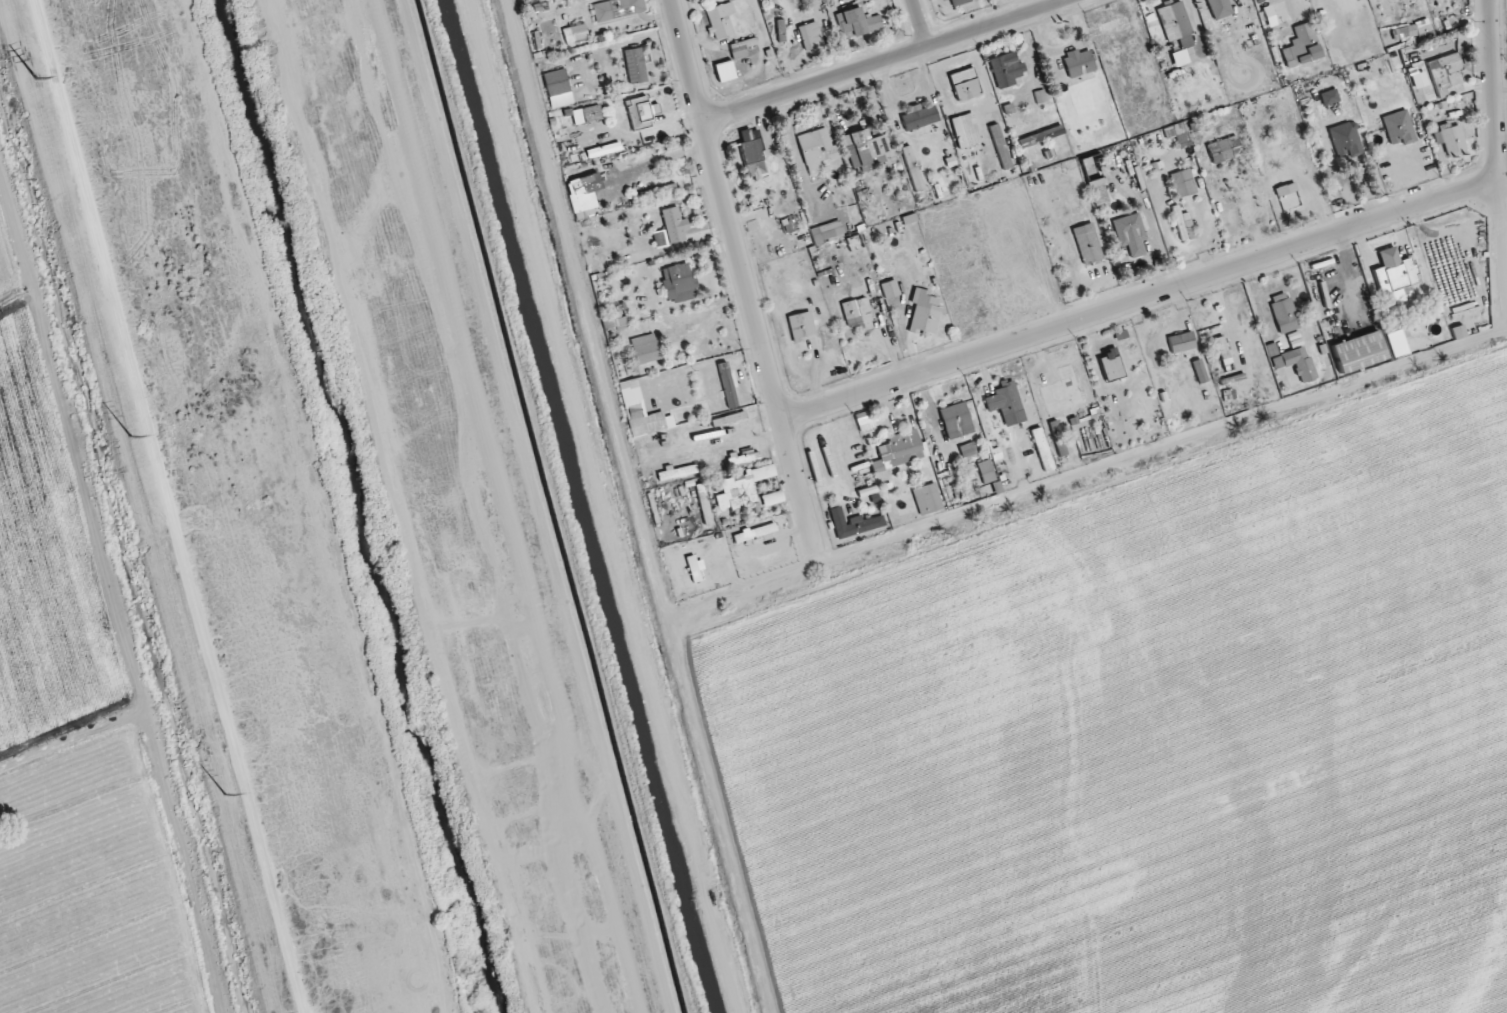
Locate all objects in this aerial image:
building: (959, 2)
building: (554, 5)
building: (1220, 8)
building: (613, 9)
building: (720, 19)
building: (1175, 20)
building: (858, 22)
road: (922, 23)
building: (576, 32)
building: (810, 35)
building: (1301, 46)
building: (740, 50)
road: (885, 61)
building: (1079, 62)
building: (636, 65)
building: (725, 70)
building: (1007, 70)
building: (1445, 73)
power tower: (29, 76)
building: (1419, 80)
building: (558, 83)
building: (967, 89)
building: (1329, 96)
building: (591, 113)
building: (919, 116)
building: (1399, 127)
building: (966, 130)
road: (1497, 133)
building: (1345, 139)
building: (1450, 139)
building: (818, 146)
building: (1000, 146)
building: (868, 149)
building: (1225, 149)
building: (751, 151)
building: (913, 168)
building: (1182, 182)
building: (1287, 195)
building: (675, 223)
building: (827, 232)
building: (1130, 233)
building: (1088, 243)
building: (1394, 274)
road: (741, 277)
building: (679, 282)
building: (890, 288)
road: (1140, 300)
building: (1285, 312)
building: (851, 313)
building: (924, 321)
building: (802, 326)
building: (1121, 335)
building: (1182, 342)
building: (1244, 350)
building: (1121, 351)
building: (1359, 351)
building: (1300, 362)
building: (1200, 370)
building: (1008, 399)
building: (956, 420)
power tower: (125, 434)
building: (1058, 438)
building: (1042, 448)
building: (900, 450)
building: (743, 456)
building: (987, 470)
building: (678, 472)
building: (746, 489)
building: (919, 500)
building: (950, 501)
river: (357, 506)
road: (528, 506)
building: (855, 524)
power tower: (221, 797)

